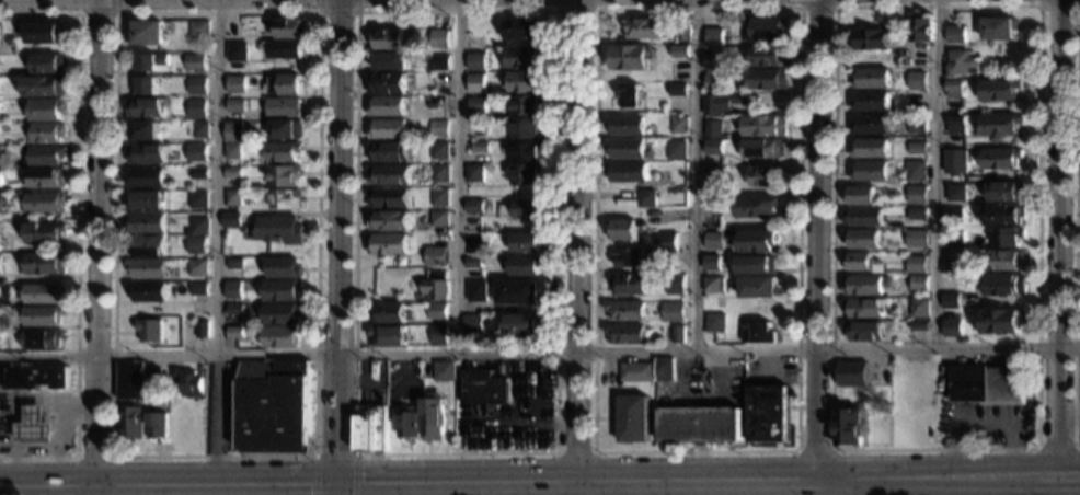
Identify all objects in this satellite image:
road: (1059, 5)
road: (817, 7)
road: (597, 8)
road: (577, 9)
road: (336, 11)
road: (117, 13)
road: (99, 14)
building: (643, 27)
building: (921, 27)
building: (199, 28)
building: (290, 28)
building: (524, 28)
building: (767, 28)
building: (998, 28)
building: (0, 30)
building: (232, 31)
building: (147, 32)
building: (683, 32)
building: (45, 33)
building: (951, 33)
building: (713, 36)
building: (439, 38)
building: (388, 39)
building: (872, 39)
building: (11, 49)
building: (285, 49)
building: (237, 50)
building: (679, 50)
building: (768, 55)
building: (525, 57)
building: (630, 57)
building: (391, 60)
building: (715, 60)
building: (195, 61)
building: (474, 61)
building: (905, 61)
building: (49, 62)
building: (153, 62)
building: (438, 62)
building: (961, 62)
building: (439, 78)
building: (872, 78)
building: (767, 79)
building: (917, 80)
building: (234, 81)
building: (524, 81)
building: (714, 82)
building: (387, 83)
building: (475, 83)
building: (285, 84)
building: (45, 85)
building: (147, 85)
building: (197, 85)
building: (677, 89)
building: (954, 89)
building: (1000, 89)
building: (629, 95)
building: (494, 99)
building: (871, 101)
building: (721, 102)
building: (199, 103)
building: (475, 104)
building: (526, 104)
building: (235, 105)
building: (387, 105)
building: (0, 106)
building: (284, 106)
building: (146, 108)
building: (47, 110)
building: (679, 124)
building: (871, 124)
building: (955, 124)
building: (1000, 124)
building: (627, 125)
building: (763, 125)
building: (238, 126)
building: (917, 127)
building: (388, 128)
building: (438, 128)
building: (526, 128)
building: (713, 128)
building: (200, 129)
building: (143, 130)
building: (287, 130)
building: (48, 133)
building: (480, 147)
building: (625, 147)
building: (713, 147)
building: (762, 148)
building: (870, 148)
building: (917, 148)
building: (676, 149)
building: (232, 150)
building: (439, 150)
building: (526, 150)
building: (199, 152)
building: (283, 152)
building: (390, 152)
building: (148, 153)
building: (47, 156)
building: (1000, 158)
building: (954, 161)
building: (916, 170)
building: (627, 171)
building: (871, 171)
building: (233, 172)
building: (199, 173)
building: (439, 173)
building: (474, 173)
building: (389, 174)
building: (525, 174)
road: (937, 174)
building: (284, 175)
building: (713, 175)
building: (147, 176)
road: (456, 176)
road: (697, 176)
building: (763, 176)
building: (0, 177)
building: (45, 177)
road: (218, 177)
building: (955, 192)
building: (1007, 192)
building: (860, 195)
building: (233, 196)
building: (918, 196)
building: (389, 197)
building: (439, 197)
building: (286, 198)
building: (646, 198)
building: (147, 199)
building: (198, 199)
building: (711, 200)
building: (1, 202)
building: (45, 203)
building: (757, 205)
building: (473, 206)
building: (525, 209)
building: (917, 212)
building: (1003, 214)
building: (953, 215)
building: (439, 218)
building: (863, 218)
building: (231, 219)
building: (389, 220)
building: (147, 222)
building: (199, 226)
building: (277, 229)
building: (622, 230)
road: (1076, 230)
building: (45, 232)
road: (77, 232)
building: (953, 237)
building: (1009, 237)
building: (862, 238)
building: (917, 238)
road: (1059, 238)
building: (714, 240)
building: (759, 240)
road: (815, 241)
building: (525, 242)
road: (574, 242)
building: (667, 242)
building: (387, 244)
building: (147, 245)
building: (197, 245)
road: (96, 248)
road: (338, 248)
building: (0, 255)
building: (435, 256)
building: (633, 256)
building: (858, 261)
building: (1009, 261)
building: (472, 262)
building: (712, 263)
building: (46, 264)
building: (234, 264)
building: (916, 264)
building: (525, 265)
building: (757, 265)
building: (952, 265)
building: (197, 267)
building: (283, 267)
building: (878, 267)
building: (148, 268)
building: (675, 283)
building: (918, 283)
building: (630, 284)
building: (713, 284)
building: (1004, 284)
building: (862, 285)
building: (233, 286)
building: (436, 286)
building: (198, 289)
building: (760, 289)
building: (148, 290)
building: (280, 290)
building: (476, 291)
building: (517, 291)
building: (43, 292)
building: (950, 301)
building: (919, 307)
building: (863, 308)
building: (234, 309)
building: (437, 310)
building: (625, 310)
building: (673, 311)
building: (388, 312)
building: (282, 313)
building: (43, 315)
building: (1000, 320)
building: (715, 322)
building: (472, 323)
building: (519, 324)
building: (919, 325)
building: (951, 326)
building: (200, 329)
building: (150, 330)
building: (864, 331)
building: (234, 332)
building: (758, 332)
building: (625, 333)
building: (387, 334)
building: (438, 334)
building: (680, 334)
building: (282, 336)
building: (43, 338)
road: (539, 353)
building: (664, 368)
building: (444, 370)
parking lot: (771, 370)
building: (635, 371)
building: (173, 373)
building: (851, 373)
building: (153, 377)
building: (35, 378)
building: (130, 379)
parking lot: (703, 381)
building: (189, 383)
building: (988, 384)
building: (482, 387)
parking lot: (1078, 400)
building: (274, 404)
road: (15, 405)
parking lot: (222, 407)
parking lot: (514, 412)
building: (767, 413)
building: (433, 418)
building: (633, 418)
road: (1069, 418)
road: (215, 421)
building: (409, 422)
building: (131, 423)
building: (699, 424)
parking lot: (983, 424)
building: (157, 425)
building: (34, 426)
building: (849, 428)
building: (371, 429)
road: (55, 447)
road: (1035, 448)
road: (1054, 448)
road: (812, 449)
road: (574, 451)
road: (554, 452)
road: (334, 454)
road: (93, 457)
road: (1069, 475)
road: (935, 477)
road: (1069, 481)
road: (406, 484)
road: (1056, 485)
traffic signals: (337, 486)
road: (926, 486)
road: (1007, 486)
road: (841, 487)
road: (576, 490)
road: (681, 490)

